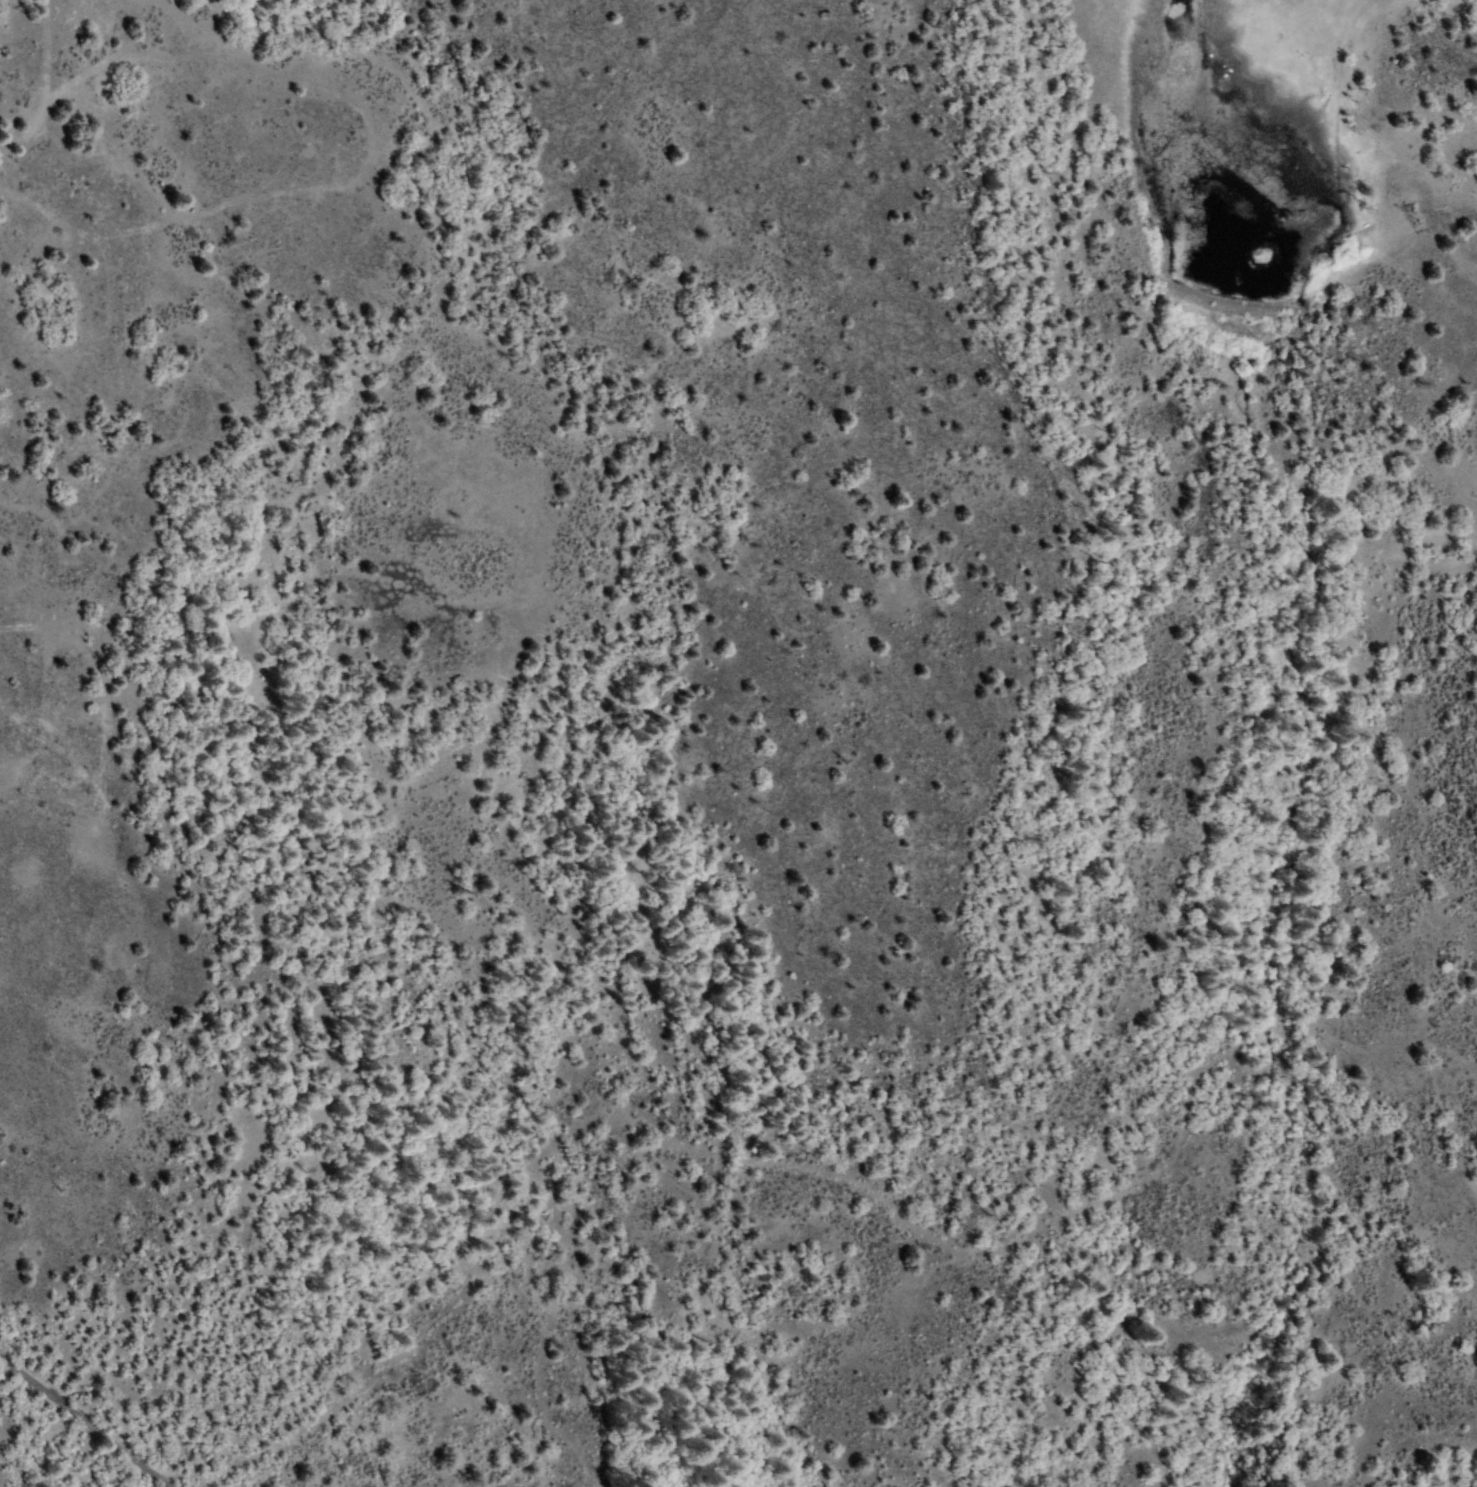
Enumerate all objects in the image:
road: (85, 1418)

